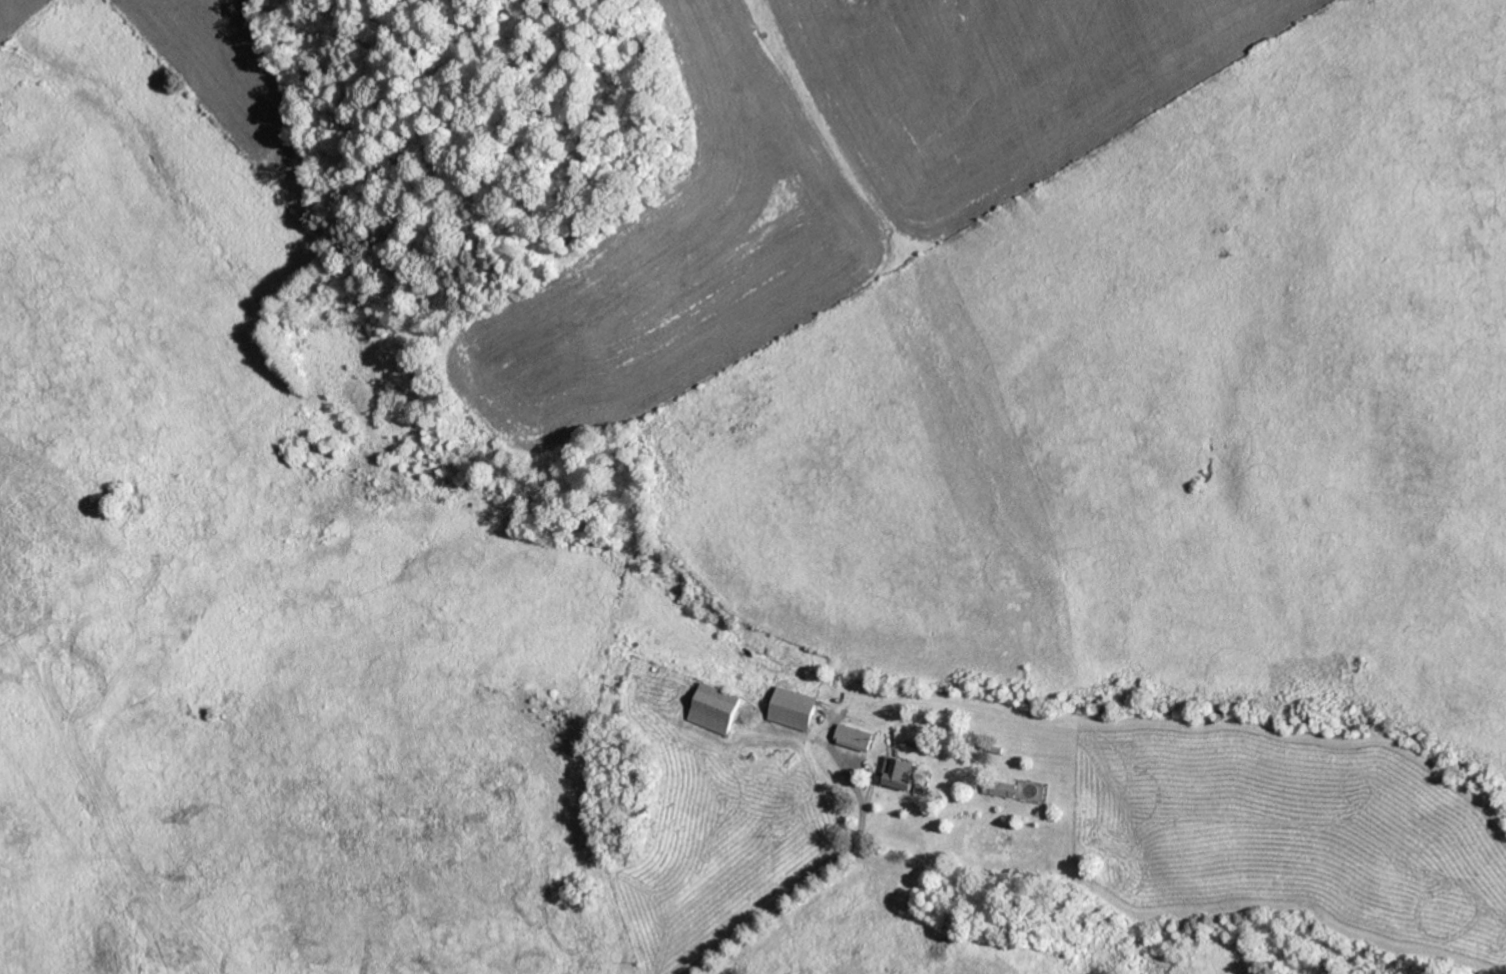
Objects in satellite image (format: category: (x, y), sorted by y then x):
building: (719, 708)
building: (797, 709)
building: (856, 737)
building: (904, 774)

